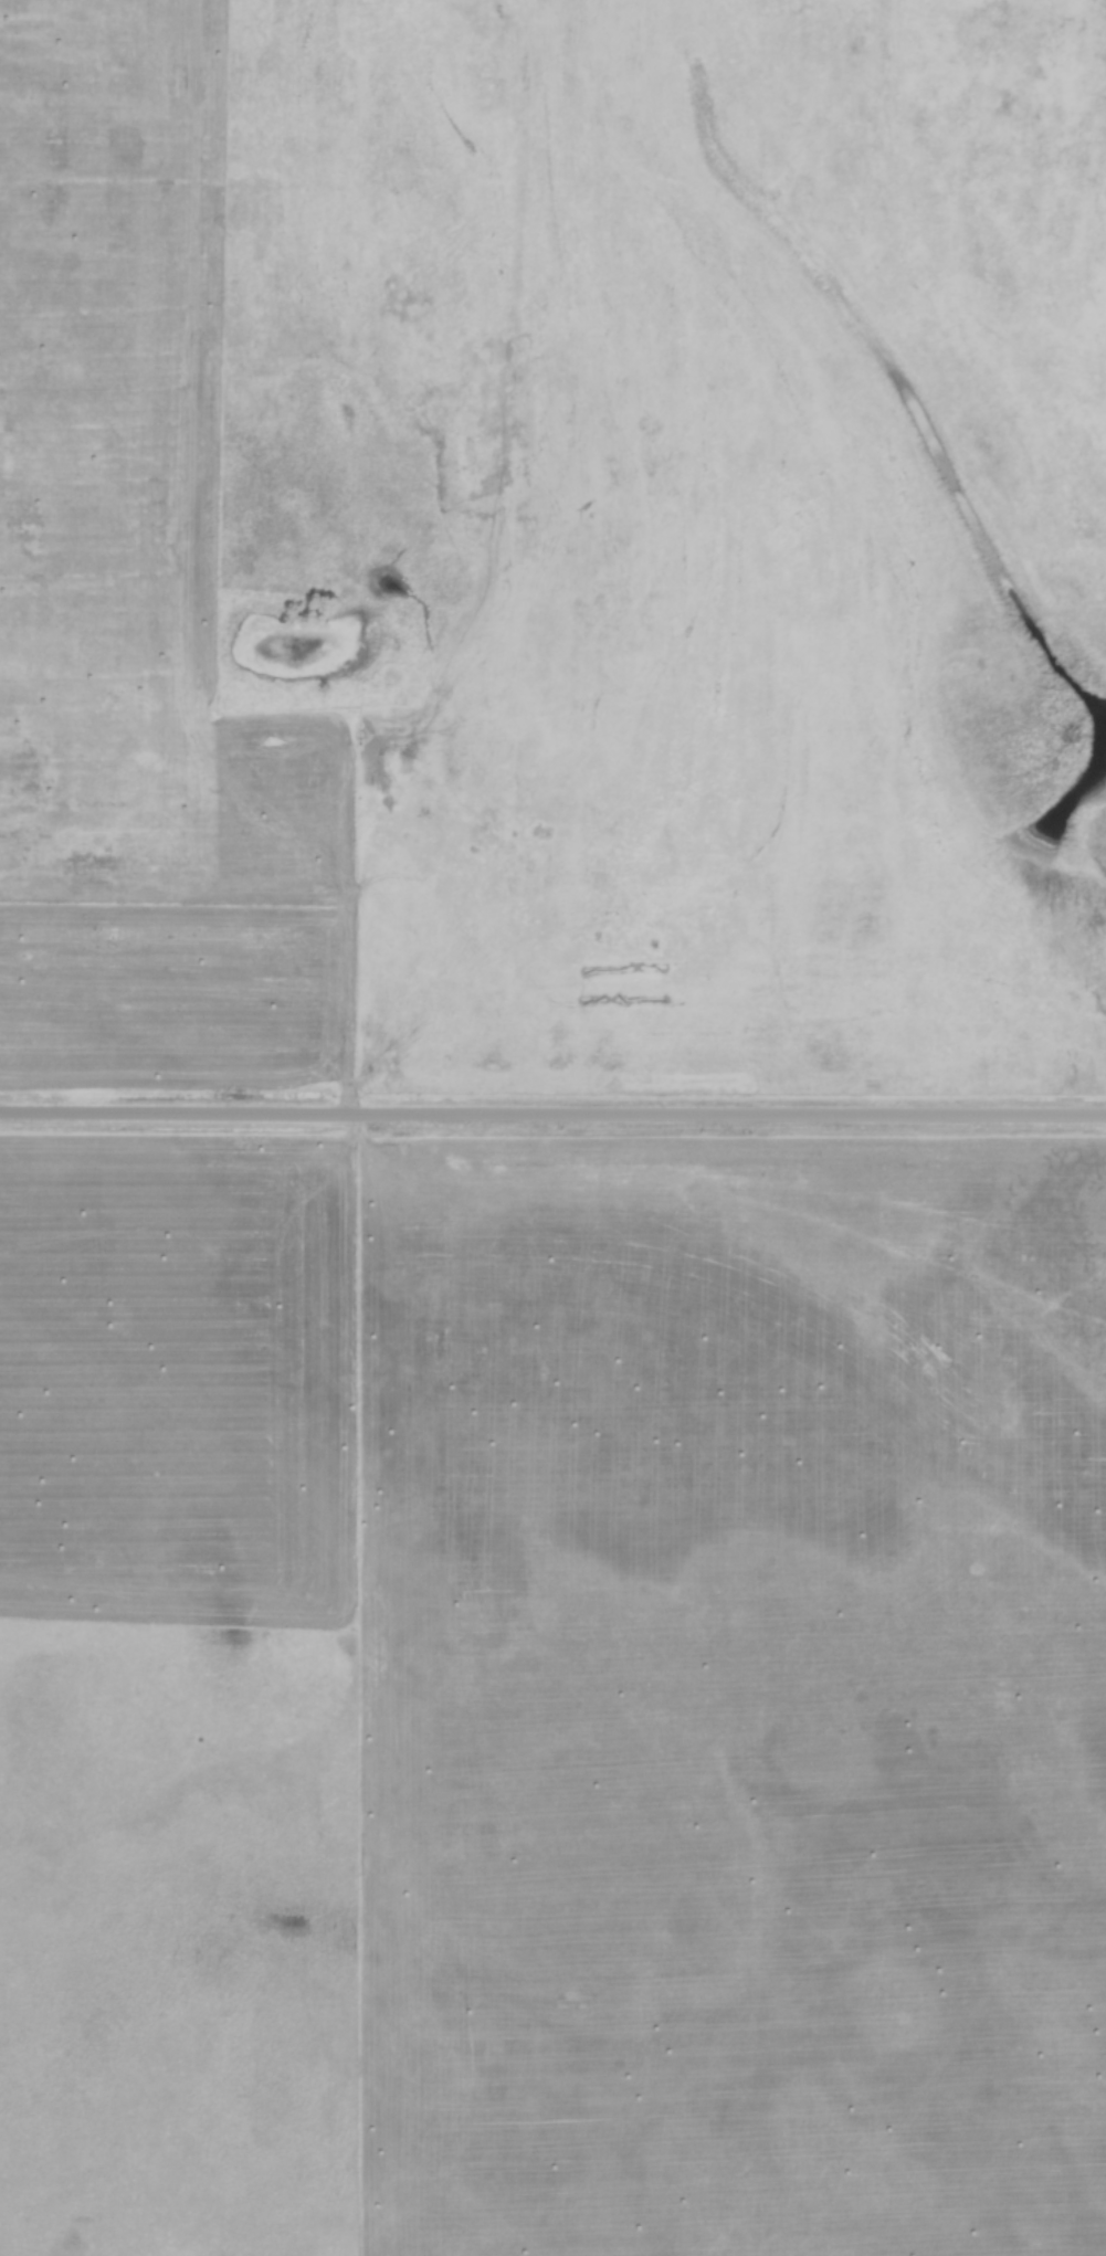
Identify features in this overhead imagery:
road: (552, 1121)

